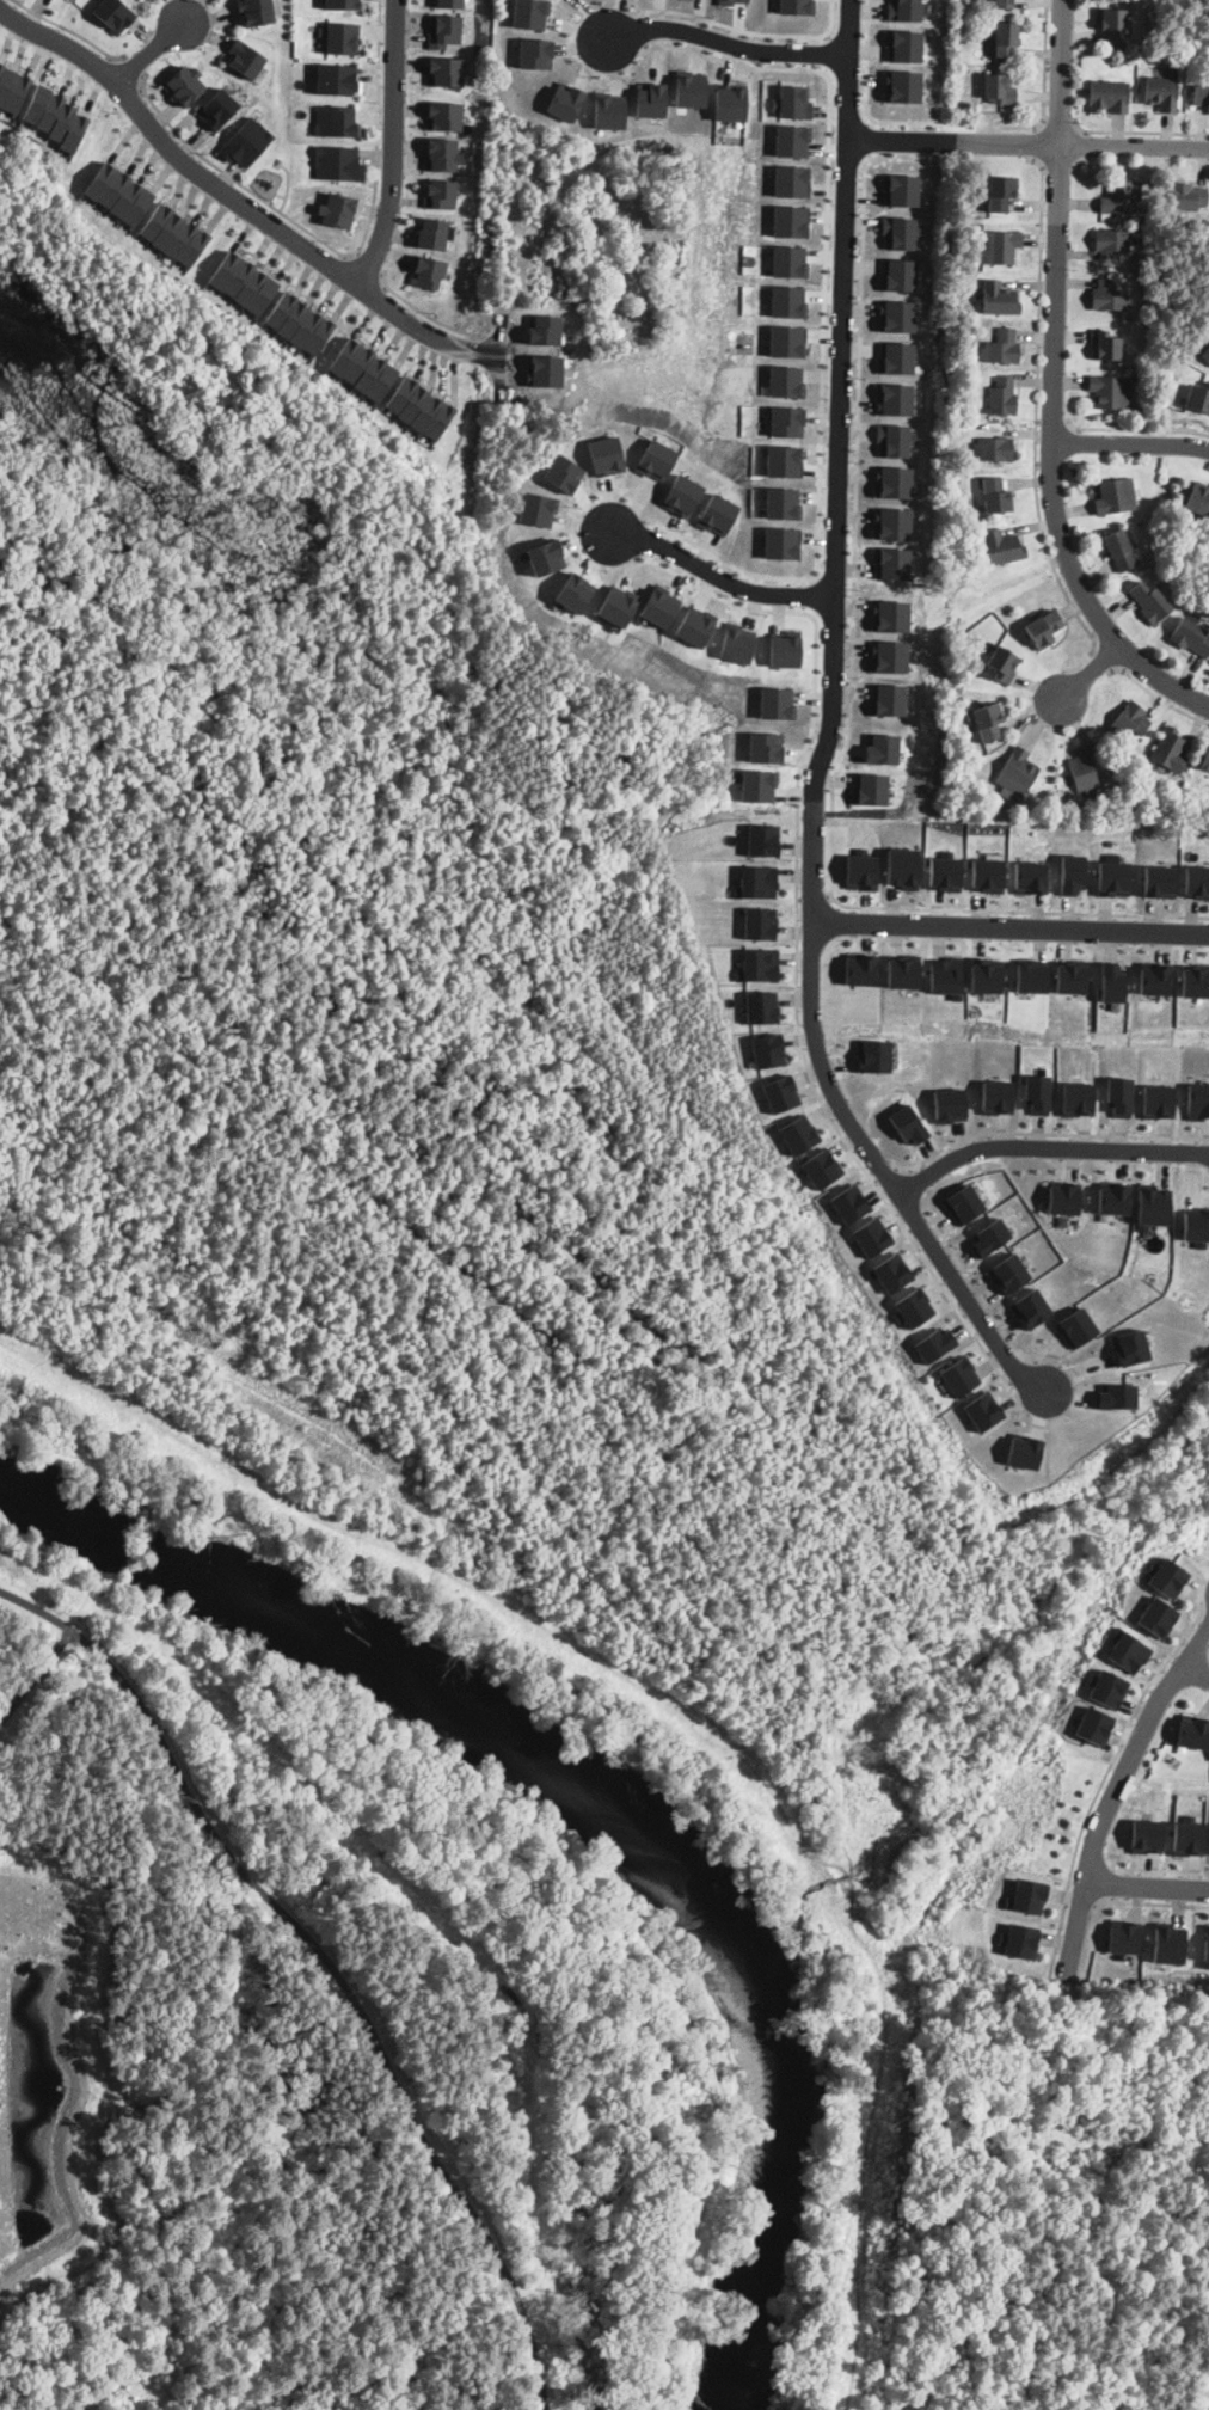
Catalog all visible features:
building: (728, 1)
building: (450, 2)
building: (343, 4)
building: (1004, 5)
building: (797, 6)
building: (906, 10)
building: (254, 12)
building: (529, 13)
building: (115, 14)
building: (961, 19)
building: (1111, 24)
road: (646, 30)
road: (70, 31)
building: (444, 31)
road: (749, 31)
building: (343, 37)
building: (1006, 39)
road: (726, 42)
building: (904, 45)
road: (805, 51)
building: (535, 53)
road: (151, 54)
building: (247, 60)
road: (131, 69)
building: (2, 70)
building: (446, 70)
building: (338, 80)
building: (7, 84)
building: (184, 84)
building: (902, 86)
building: (689, 88)
building: (1000, 90)
building: (18, 92)
building: (1159, 93)
road: (867, 94)
road: (1044, 96)
building: (1201, 96)
building: (1106, 97)
road: (848, 98)
building: (650, 99)
building: (565, 100)
building: (730, 100)
building: (38, 102)
building: (792, 102)
building: (217, 108)
building: (608, 110)
building: (51, 111)
building: (446, 116)
building: (65, 119)
building: (336, 121)
road: (1058, 125)
building: (75, 130)
road: (1139, 131)
road: (882, 139)
building: (792, 140)
building: (246, 142)
road: (1029, 142)
road: (1035, 143)
road: (394, 147)
building: (441, 155)
building: (338, 162)
building: (103, 179)
building: (791, 180)
building: (116, 189)
building: (900, 189)
building: (441, 192)
building: (1001, 192)
building: (1185, 196)
building: (129, 197)
building: (1119, 198)
road: (238, 201)
building: (141, 204)
building: (335, 210)
building: (159, 220)
building: (791, 221)
building: (171, 229)
building: (900, 232)
building: (432, 233)
building: (183, 238)
building: (1111, 241)
building: (195, 246)
building: (1000, 247)
road: (338, 252)
building: (790, 260)
road: (364, 266)
building: (226, 268)
building: (426, 271)
building: (898, 274)
building: (238, 277)
building: (251, 287)
building: (263, 295)
building: (1109, 296)
building: (999, 300)
building: (787, 301)
building: (281, 309)
road: (419, 309)
building: (1150, 312)
building: (897, 315)
road: (823, 317)
building: (293, 318)
building: (306, 327)
building: (319, 335)
building: (1208, 339)
building: (786, 341)
building: (1208, 341)
building: (1105, 345)
building: (1002, 348)
building: (345, 354)
building: (1205, 356)
building: (896, 358)
building: (358, 363)
building: (372, 373)
building: (785, 381)
building: (385, 382)
road: (1054, 385)
building: (1111, 392)
building: (403, 393)
building: (1198, 397)
building: (895, 398)
building: (1002, 398)
building: (416, 403)
road: (1037, 409)
building: (429, 412)
building: (441, 421)
building: (786, 421)
road: (1054, 424)
road: (1136, 431)
building: (895, 439)
road: (1130, 443)
building: (994, 449)
road: (858, 450)
building: (606, 455)
building: (656, 459)
building: (784, 460)
building: (564, 472)
building: (895, 482)
building: (681, 495)
building: (995, 496)
building: (1115, 497)
building: (1198, 499)
building: (781, 503)
building: (536, 508)
building: (717, 514)
building: (891, 522)
road: (653, 541)
building: (781, 541)
building: (1002, 547)
building: (1119, 550)
building: (544, 557)
park: (205, 558)
building: (892, 563)
road: (717, 575)
building: (575, 591)
road: (787, 594)
building: (1150, 603)
building: (618, 606)
building: (659, 606)
building: (890, 614)
building: (695, 626)
building: (1042, 628)
road: (834, 634)
building: (1191, 637)
building: (736, 642)
building: (784, 648)
building: (889, 655)
road: (1106, 660)
building: (1002, 664)
building: (970, 666)
road: (1088, 672)
road: (1158, 697)
building: (888, 699)
building: (777, 703)
building: (1128, 720)
building: (986, 722)
road: (831, 726)
building: (765, 747)
building: (882, 748)
building: (1170, 752)
building: (1204, 760)
building: (1017, 772)
building: (1082, 772)
building: (757, 785)
building: (870, 789)
building: (1111, 804)
building: (762, 839)
building: (903, 867)
building: (861, 870)
building: (945, 871)
building: (1072, 873)
building: (988, 875)
building: (1112, 875)
building: (1030, 877)
building: (1159, 881)
building: (756, 882)
building: (1196, 882)
road: (814, 896)
road: (1017, 910)
building: (760, 922)
road: (1011, 927)
road: (797, 938)
building: (759, 965)
building: (860, 968)
building: (902, 971)
building: (1031, 974)
building: (984, 975)
building: (945, 976)
building: (1070, 976)
building: (1154, 977)
building: (1112, 981)
building: (1195, 981)
building: (761, 1006)
building: (767, 1050)
building: (873, 1055)
building: (779, 1092)
building: (1037, 1093)
building: (1119, 1096)
building: (998, 1097)
building: (1078, 1098)
building: (1158, 1100)
building: (1198, 1100)
building: (949, 1104)
building: (907, 1124)
road: (1047, 1133)
building: (798, 1134)
road: (1047, 1147)
building: (821, 1167)
road: (882, 1172)
building: (1064, 1196)
building: (1115, 1196)
building: (848, 1202)
building: (964, 1203)
building: (1153, 1206)
building: (1196, 1225)
building: (871, 1235)
building: (992, 1235)
building: (889, 1273)
building: (1009, 1273)
building: (912, 1307)
building: (1032, 1308)
building: (1078, 1327)
building: (934, 1343)
building: (1131, 1347)
building: (959, 1375)
building: (1117, 1396)
building: (983, 1410)
building: (1024, 1451)
building: (1166, 1576)
building: (1158, 1615)
road: (1198, 1639)
building: (1128, 1650)
road: (1196, 1670)
road: (35, 1672)
building: (1105, 1687)
building: (1092, 1725)
building: (1192, 1731)
road: (1105, 1774)
river: (602, 1785)
road: (1112, 1795)
building: (1147, 1835)
building: (1190, 1838)
road: (1146, 1887)
building: (1026, 1895)
road: (1082, 1901)
road: (1150, 1903)
building: (1124, 1934)
building: (1018, 1939)
building: (1170, 1942)
building: (1207, 1943)
road: (326, 1962)
park: (389, 2055)

